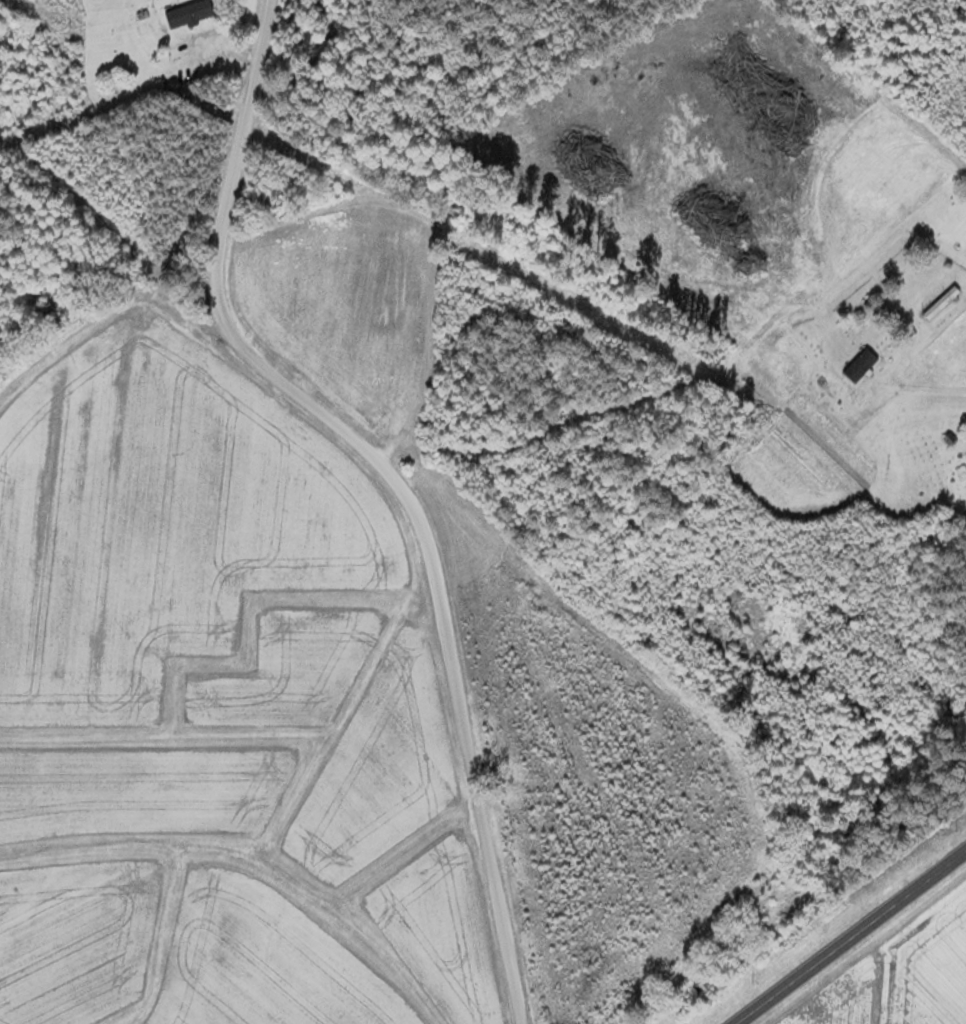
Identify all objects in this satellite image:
building: (191, 13)
building: (61, 76)
road: (168, 122)
building: (942, 302)
road: (128, 337)
building: (861, 364)
road: (676, 384)
road: (870, 421)
road: (396, 478)
road: (851, 937)
building: (701, 991)

